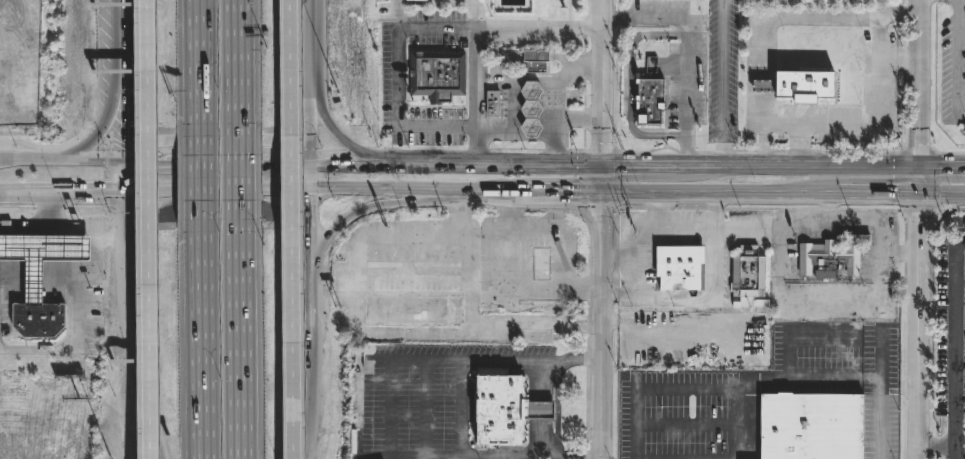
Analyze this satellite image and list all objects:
building: (417, 1)
road: (317, 2)
road: (903, 2)
road: (448, 3)
road: (618, 5)
road: (589, 11)
road: (899, 12)
road: (903, 13)
road: (396, 16)
road: (793, 19)
road: (618, 20)
road: (585, 27)
road: (415, 30)
road: (122, 32)
road: (903, 34)
road: (316, 38)
road: (585, 44)
road: (685, 48)
road: (961, 57)
building: (535, 59)
road: (900, 59)
road: (903, 59)
road: (584, 66)
road: (199, 68)
road: (236, 69)
building: (5, 74)
building: (438, 75)
road: (600, 82)
road: (722, 82)
building: (799, 84)
road: (630, 85)
road: (760, 85)
road: (616, 88)
road: (584, 94)
road: (476, 97)
road: (554, 97)
road: (918, 97)
building: (649, 100)
building: (490, 103)
gas station: (490, 103)
building: (530, 108)
gas station: (530, 108)
road: (761, 108)
road: (123, 113)
road: (310, 117)
road: (577, 119)
road: (584, 119)
road: (108, 123)
road: (781, 124)
road: (873, 125)
road: (584, 139)
traffic signals: (124, 140)
road: (763, 144)
road: (118, 145)
road: (47, 148)
road: (356, 148)
road: (517, 149)
road: (476, 150)
road: (556, 150)
road: (576, 150)
road: (764, 150)
road: (779, 150)
road: (362, 151)
road: (415, 151)
road: (601, 151)
road: (647, 151)
road: (704, 151)
road: (723, 151)
road: (745, 151)
road: (902, 151)
road: (918, 151)
road: (226, 152)
road: (686, 152)
road: (800, 152)
road: (896, 152)
road: (949, 152)
road: (311, 153)
road: (62, 160)
traffic signals: (154, 162)
road: (217, 162)
road: (321, 164)
traffic signals: (329, 164)
road: (385, 164)
road: (530, 164)
traffic signals: (600, 165)
road: (661, 165)
road: (819, 166)
traffic signals: (918, 166)
road: (941, 166)
road: (200, 168)
road: (237, 169)
road: (124, 177)
road: (310, 178)
road: (616, 178)
road: (584, 179)
road: (903, 181)
road: (934, 182)
road: (216, 192)
traffic signals: (301, 192)
road: (62, 193)
traffic signals: (109, 193)
road: (362, 193)
road: (558, 193)
traffic signals: (600, 193)
road: (693, 193)
road: (492, 194)
road: (852, 194)
road: (442, 195)
traffic signals: (918, 195)
road: (941, 195)
road: (919, 204)
traffic signals: (311, 206)
road: (828, 207)
road: (597, 208)
road: (631, 208)
road: (660, 208)
road: (691, 208)
road: (661, 209)
road: (716, 209)
road: (772, 209)
road: (829, 209)
road: (870, 209)
road: (950, 209)
road: (577, 210)
road: (48, 211)
road: (542, 223)
road: (679, 226)
road: (905, 226)
road: (614, 227)
road: (149, 229)
road: (292, 229)
road: (337, 232)
road: (588, 239)
road: (905, 251)
building: (531, 252)
road: (313, 253)
road: (897, 253)
building: (41, 255)
gas station: (41, 255)
building: (413, 255)
building: (831, 256)
road: (614, 258)
road: (621, 258)
road: (643, 261)
building: (678, 267)
road: (905, 272)
building: (749, 275)
road: (82, 277)
road: (614, 277)
road: (513, 278)
road: (713, 280)
road: (587, 287)
road: (614, 291)
road: (621, 297)
road: (877, 300)
road: (587, 308)
building: (412, 311)
road: (600, 312)
building: (38, 319)
road: (929, 322)
road: (587, 324)
road: (919, 326)
road: (134, 327)
road: (203, 329)
road: (240, 329)
road: (587, 342)
road: (952, 344)
building: (672, 346)
road: (312, 353)
road: (443, 358)
road: (587, 358)
parking lot: (751, 386)
building: (497, 407)
road: (586, 408)
building: (537, 410)
road: (308, 425)
building: (811, 426)
road: (880, 430)
road: (929, 445)
road: (929, 446)
road: (946, 446)
road: (586, 455)
road: (929, 457)
road: (568, 458)

